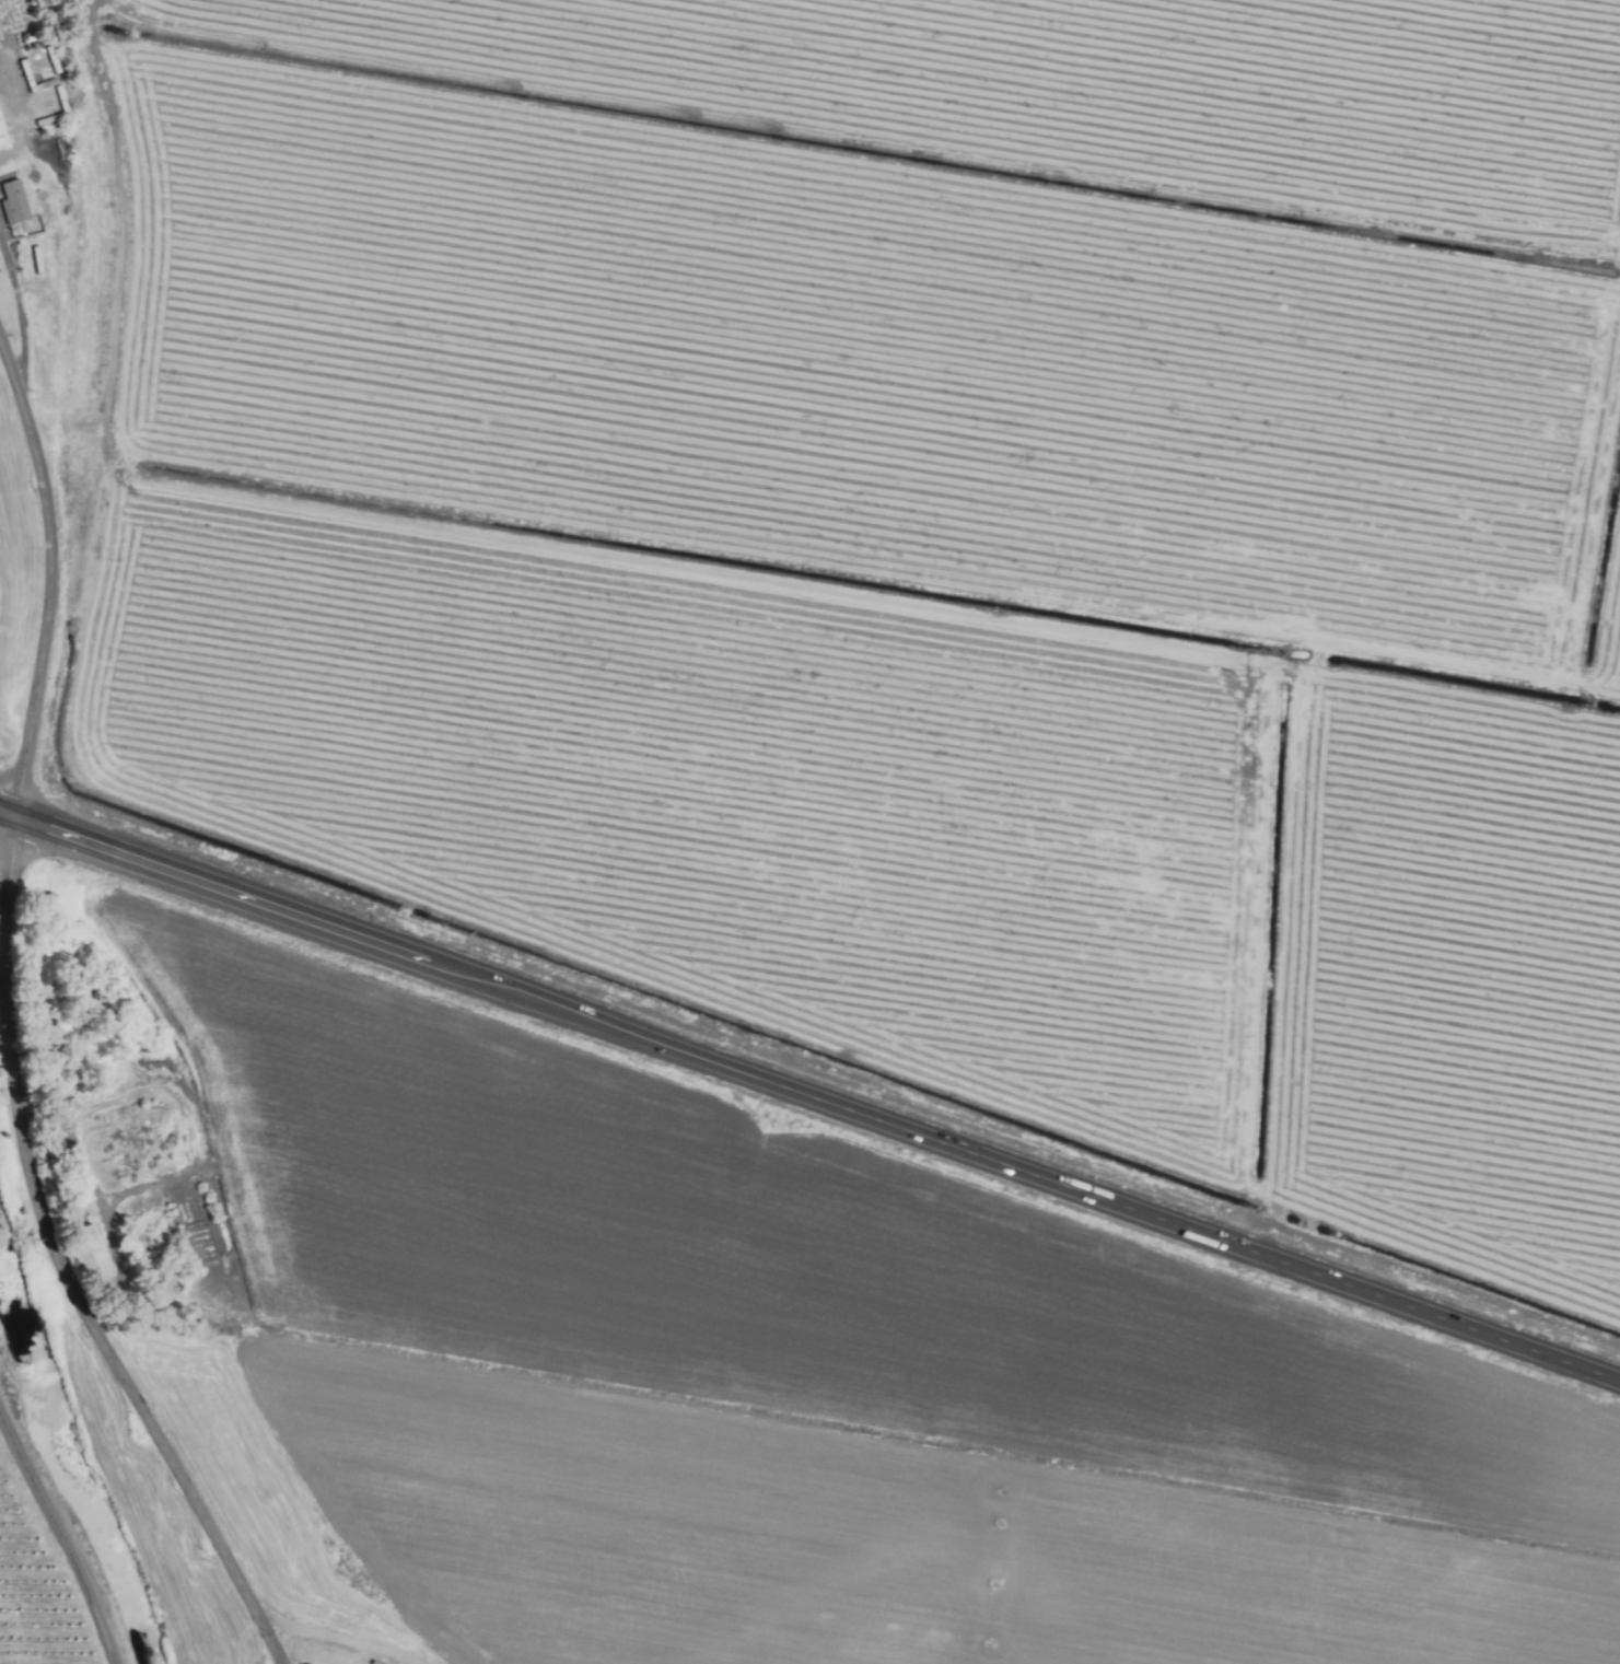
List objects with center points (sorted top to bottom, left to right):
building: (2, 135)
building: (14, 203)
road: (19, 309)
crop: (882, 810)
road: (8, 814)
road: (236, 895)
road: (3, 910)
road: (8, 1026)
road: (1039, 1177)
building: (92, 1255)
road: (50, 1548)
crop: (43, 1558)

